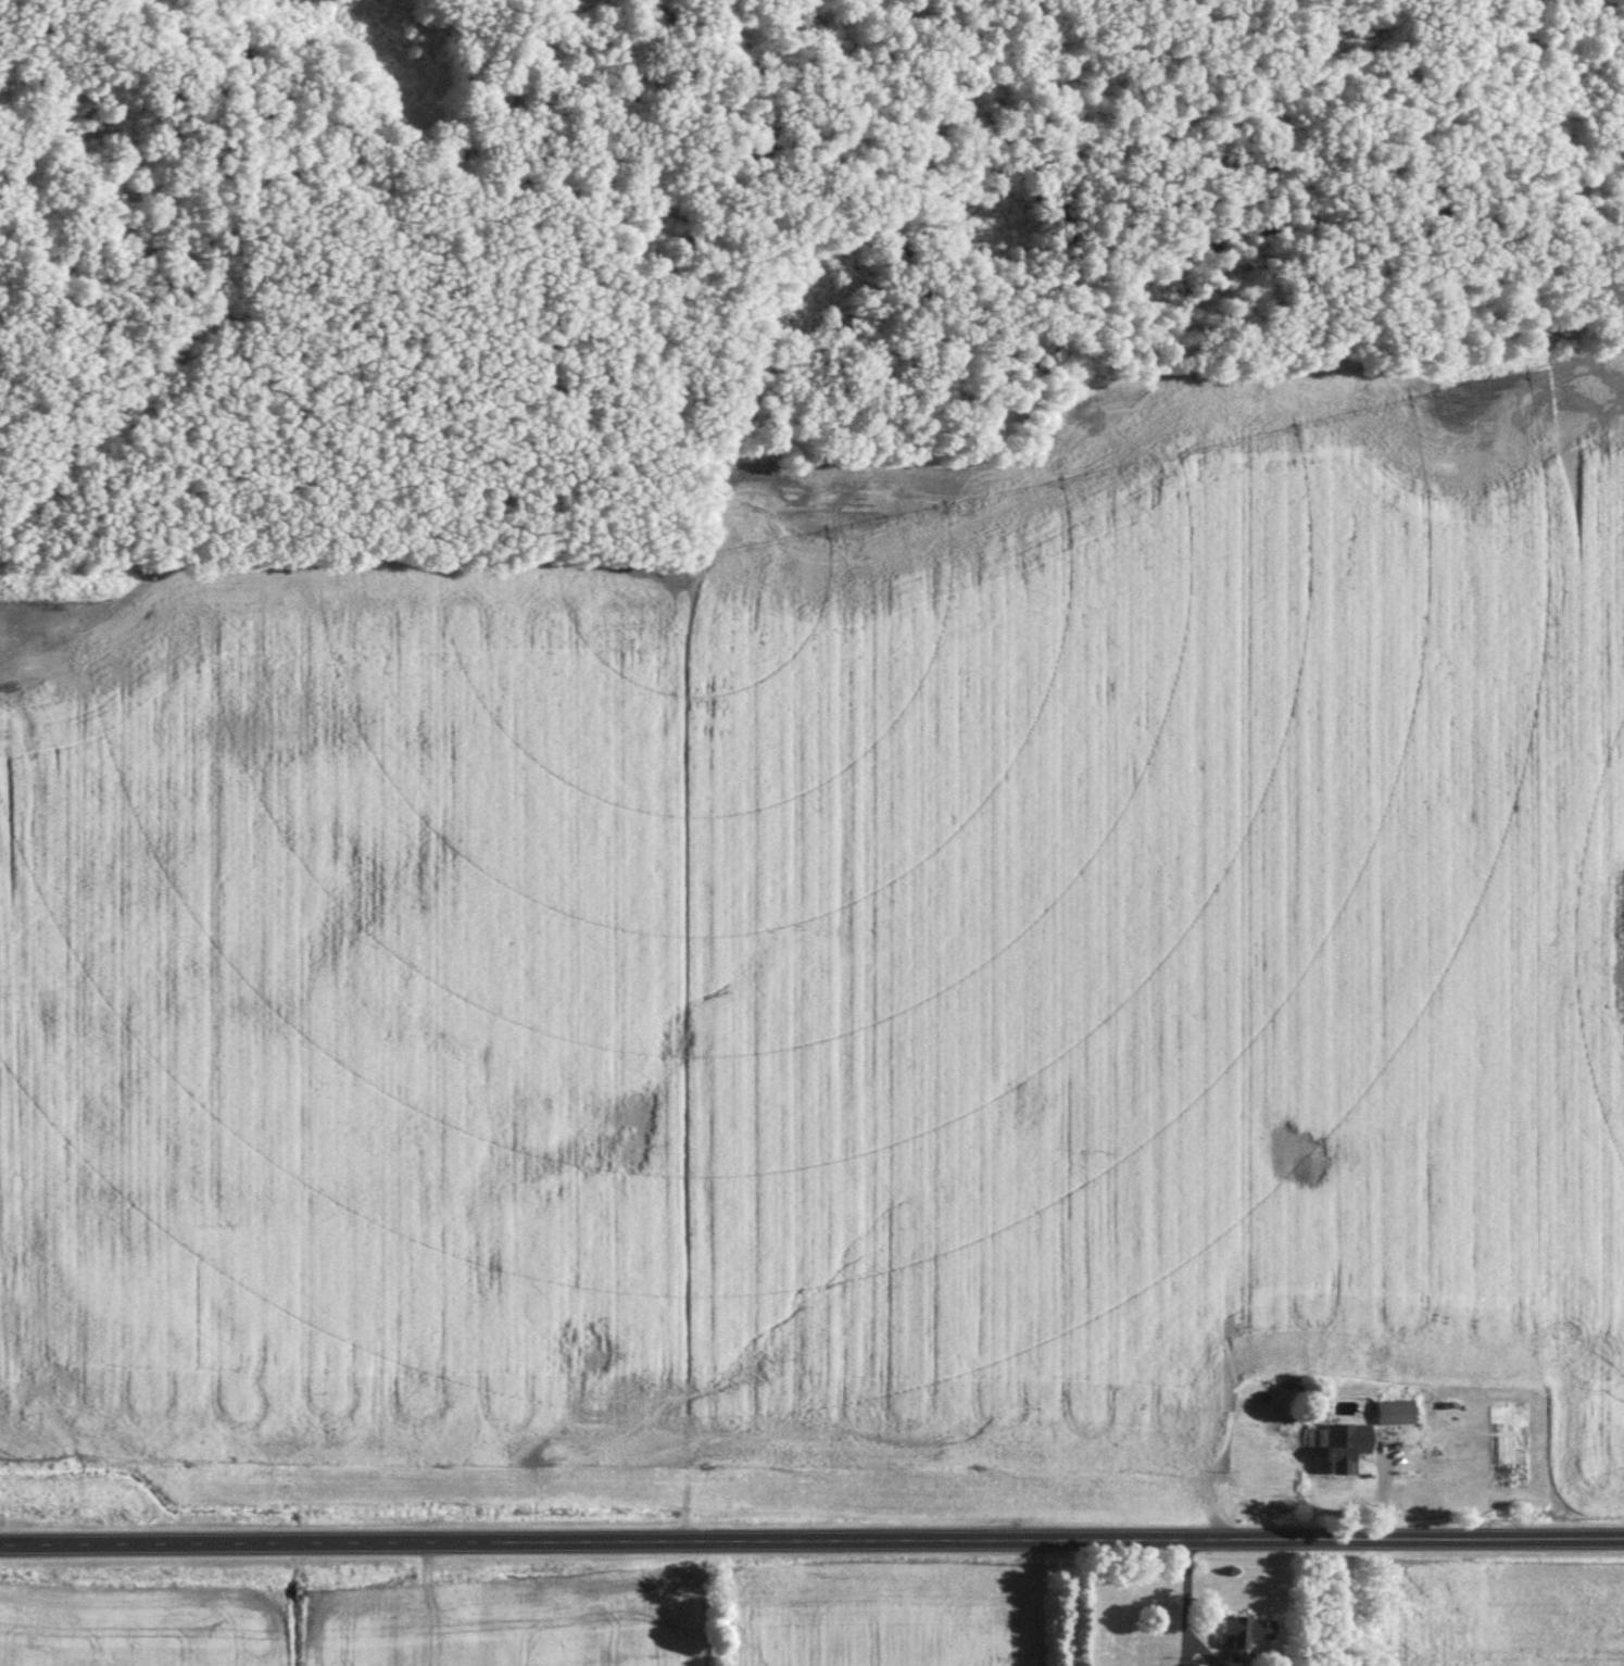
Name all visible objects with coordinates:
building: (1392, 1414)
building: (1336, 1464)
road: (811, 1541)
building: (1238, 1639)

